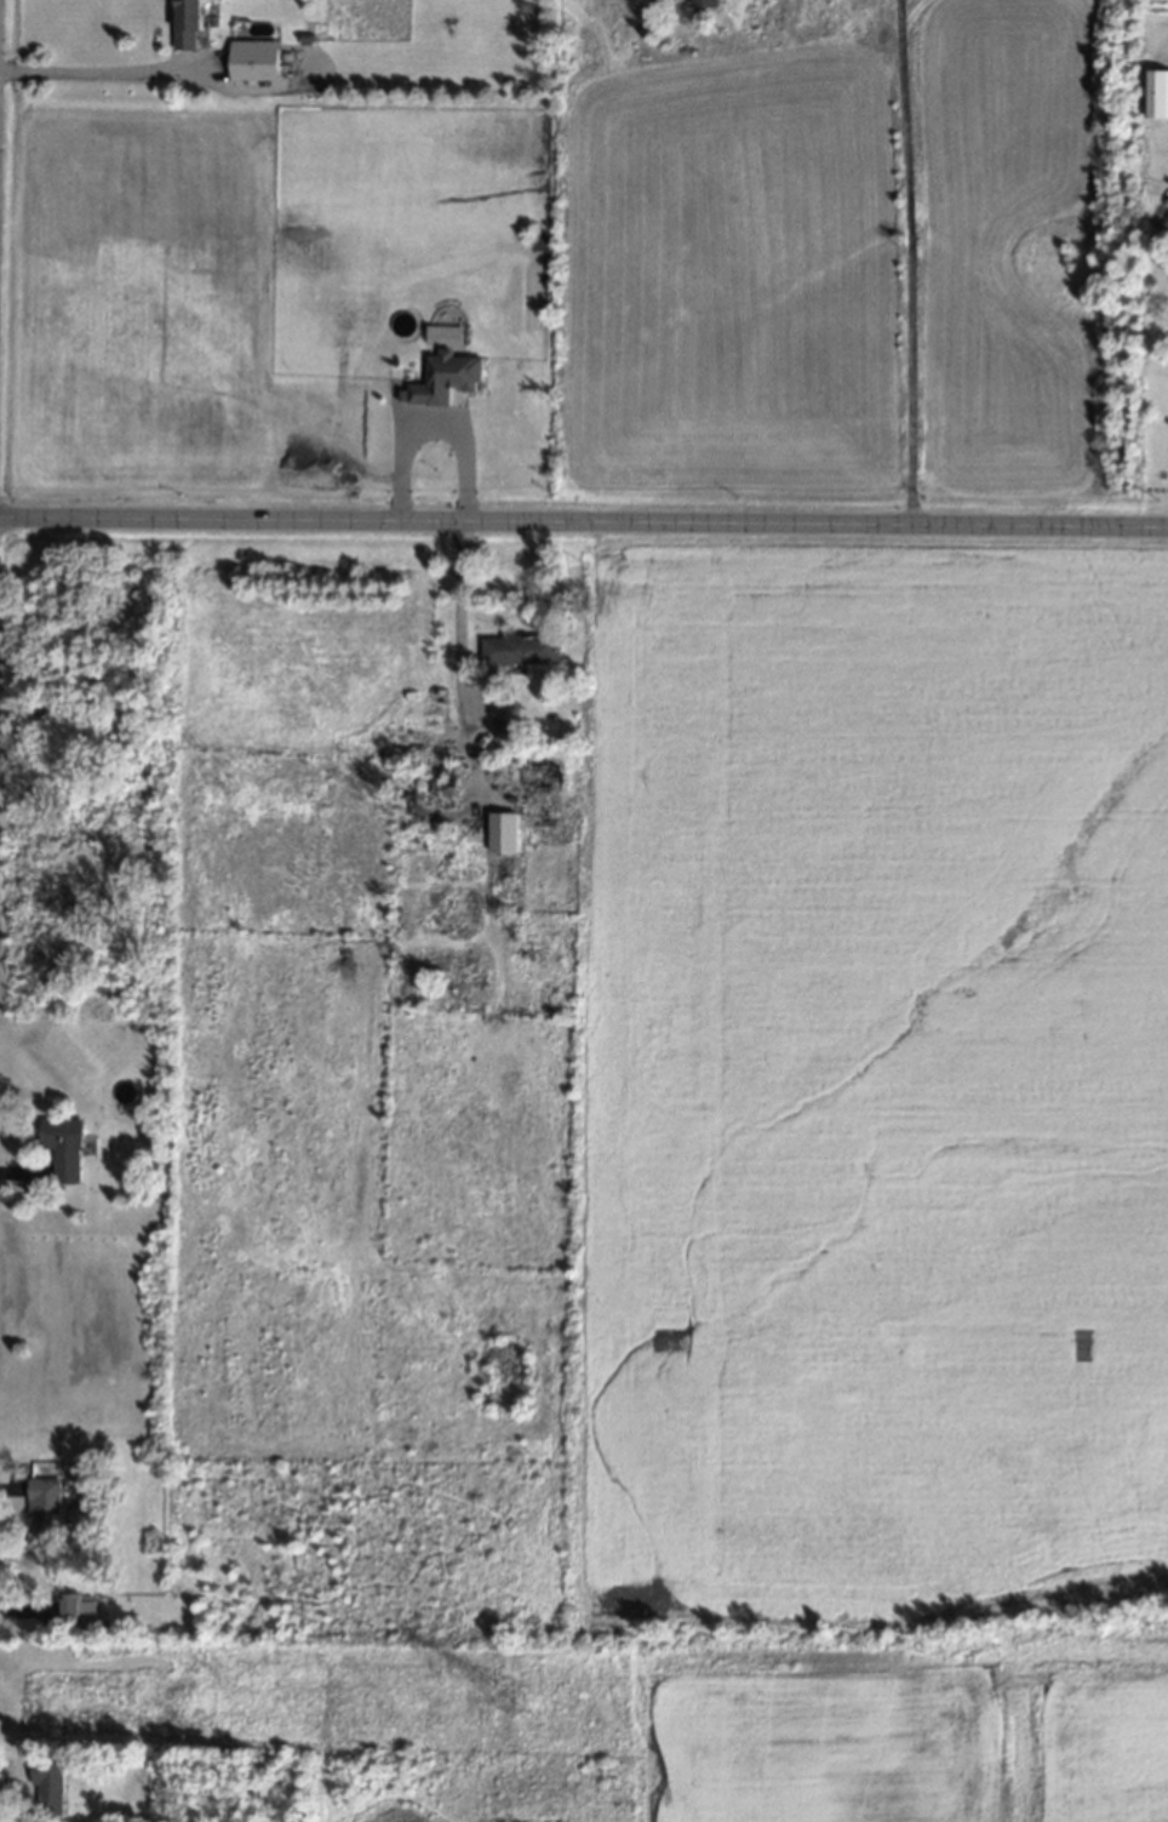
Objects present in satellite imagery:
building: (704, 4)
building: (188, 23)
building: (254, 61)
road: (102, 74)
building: (1156, 95)
road: (908, 263)
crop: (172, 296)
building: (446, 379)
road: (431, 415)
road: (584, 526)
road: (459, 645)
building: (519, 650)
building: (502, 834)
building: (63, 1149)
crop: (880, 1178)
building: (46, 1508)
building: (79, 1607)
power tower: (517, 1696)
building: (50, 1786)

